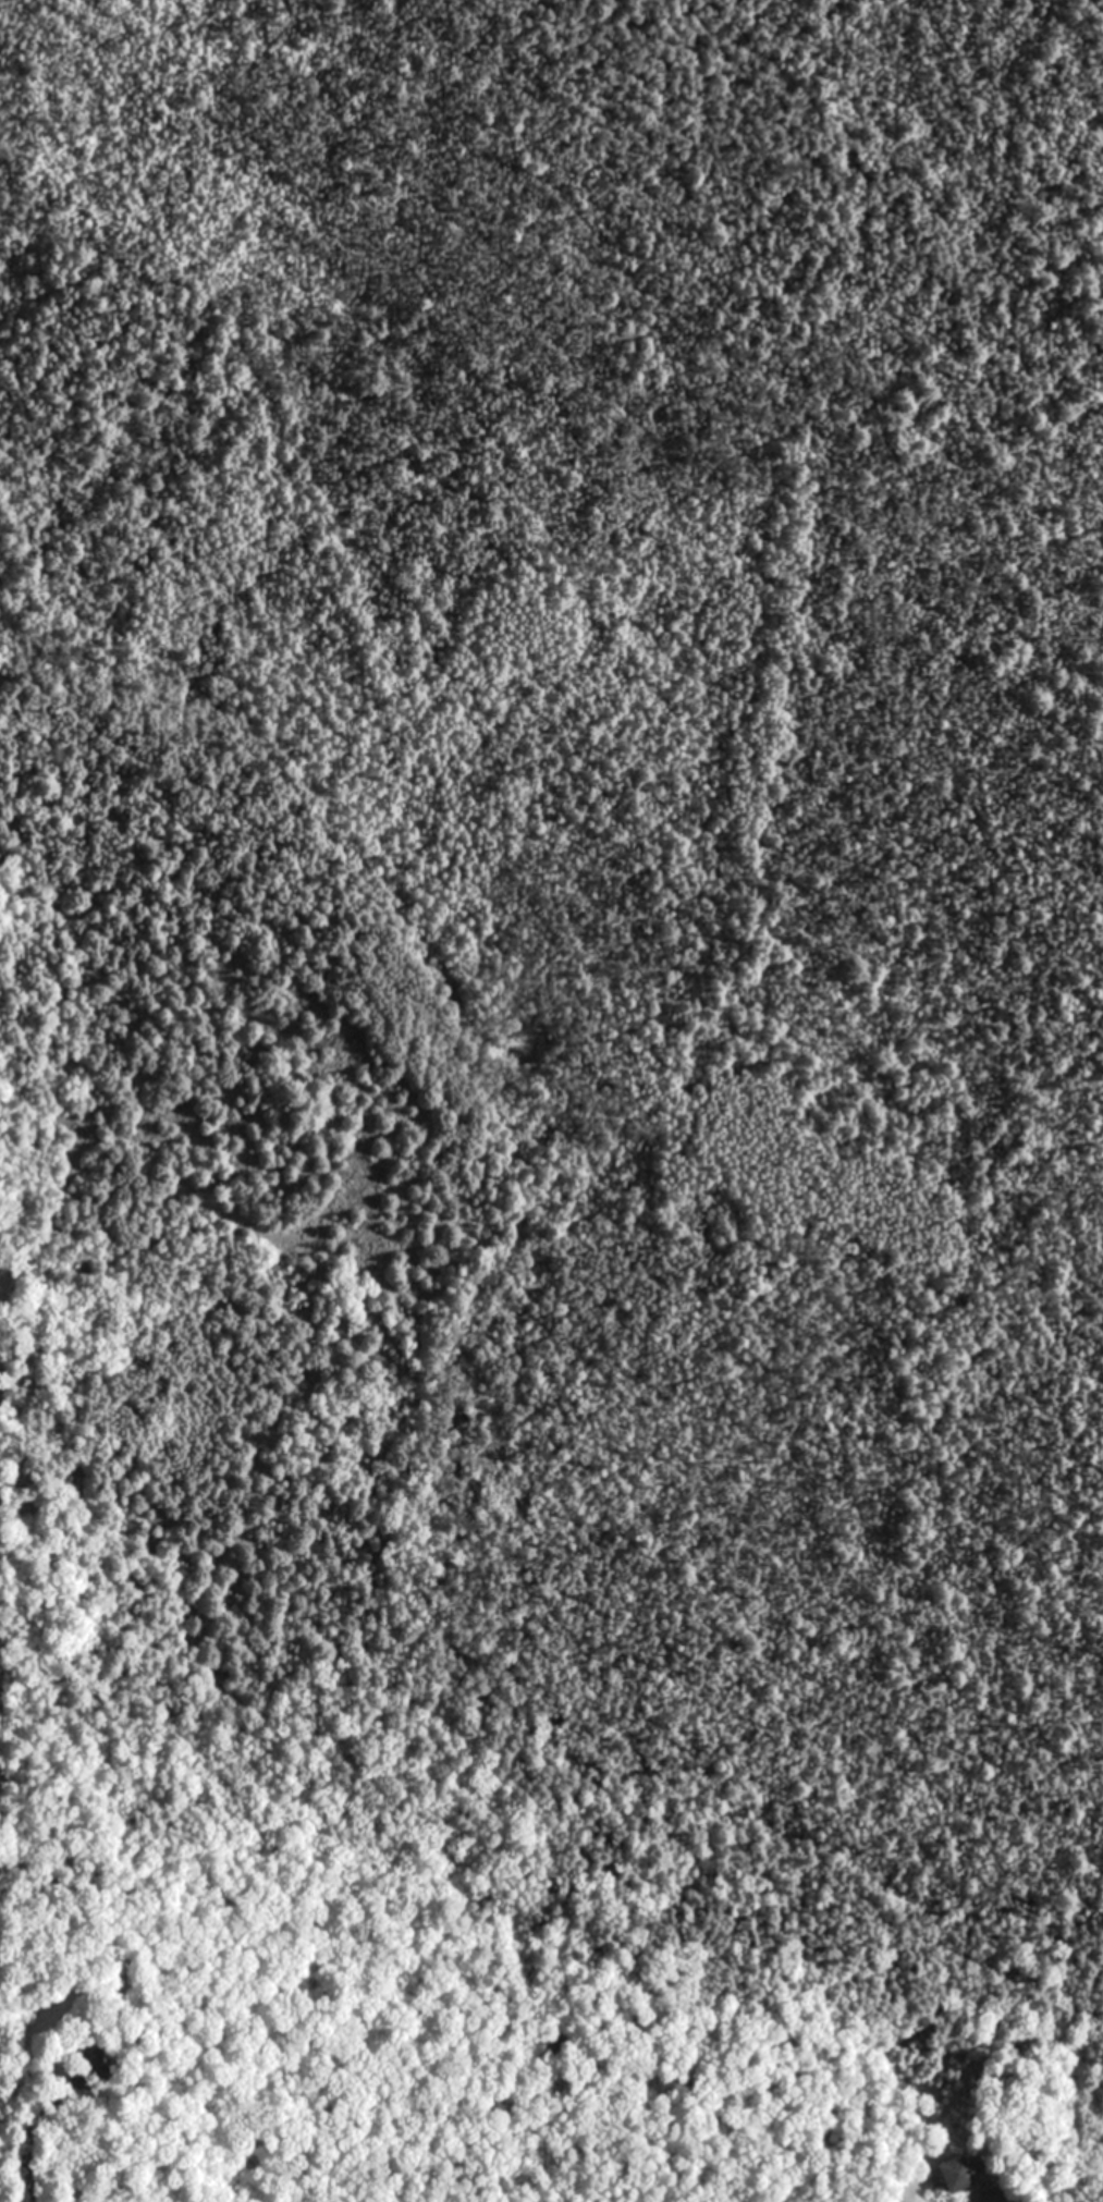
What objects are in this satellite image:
building: (951, 2175)
building: (988, 2197)

